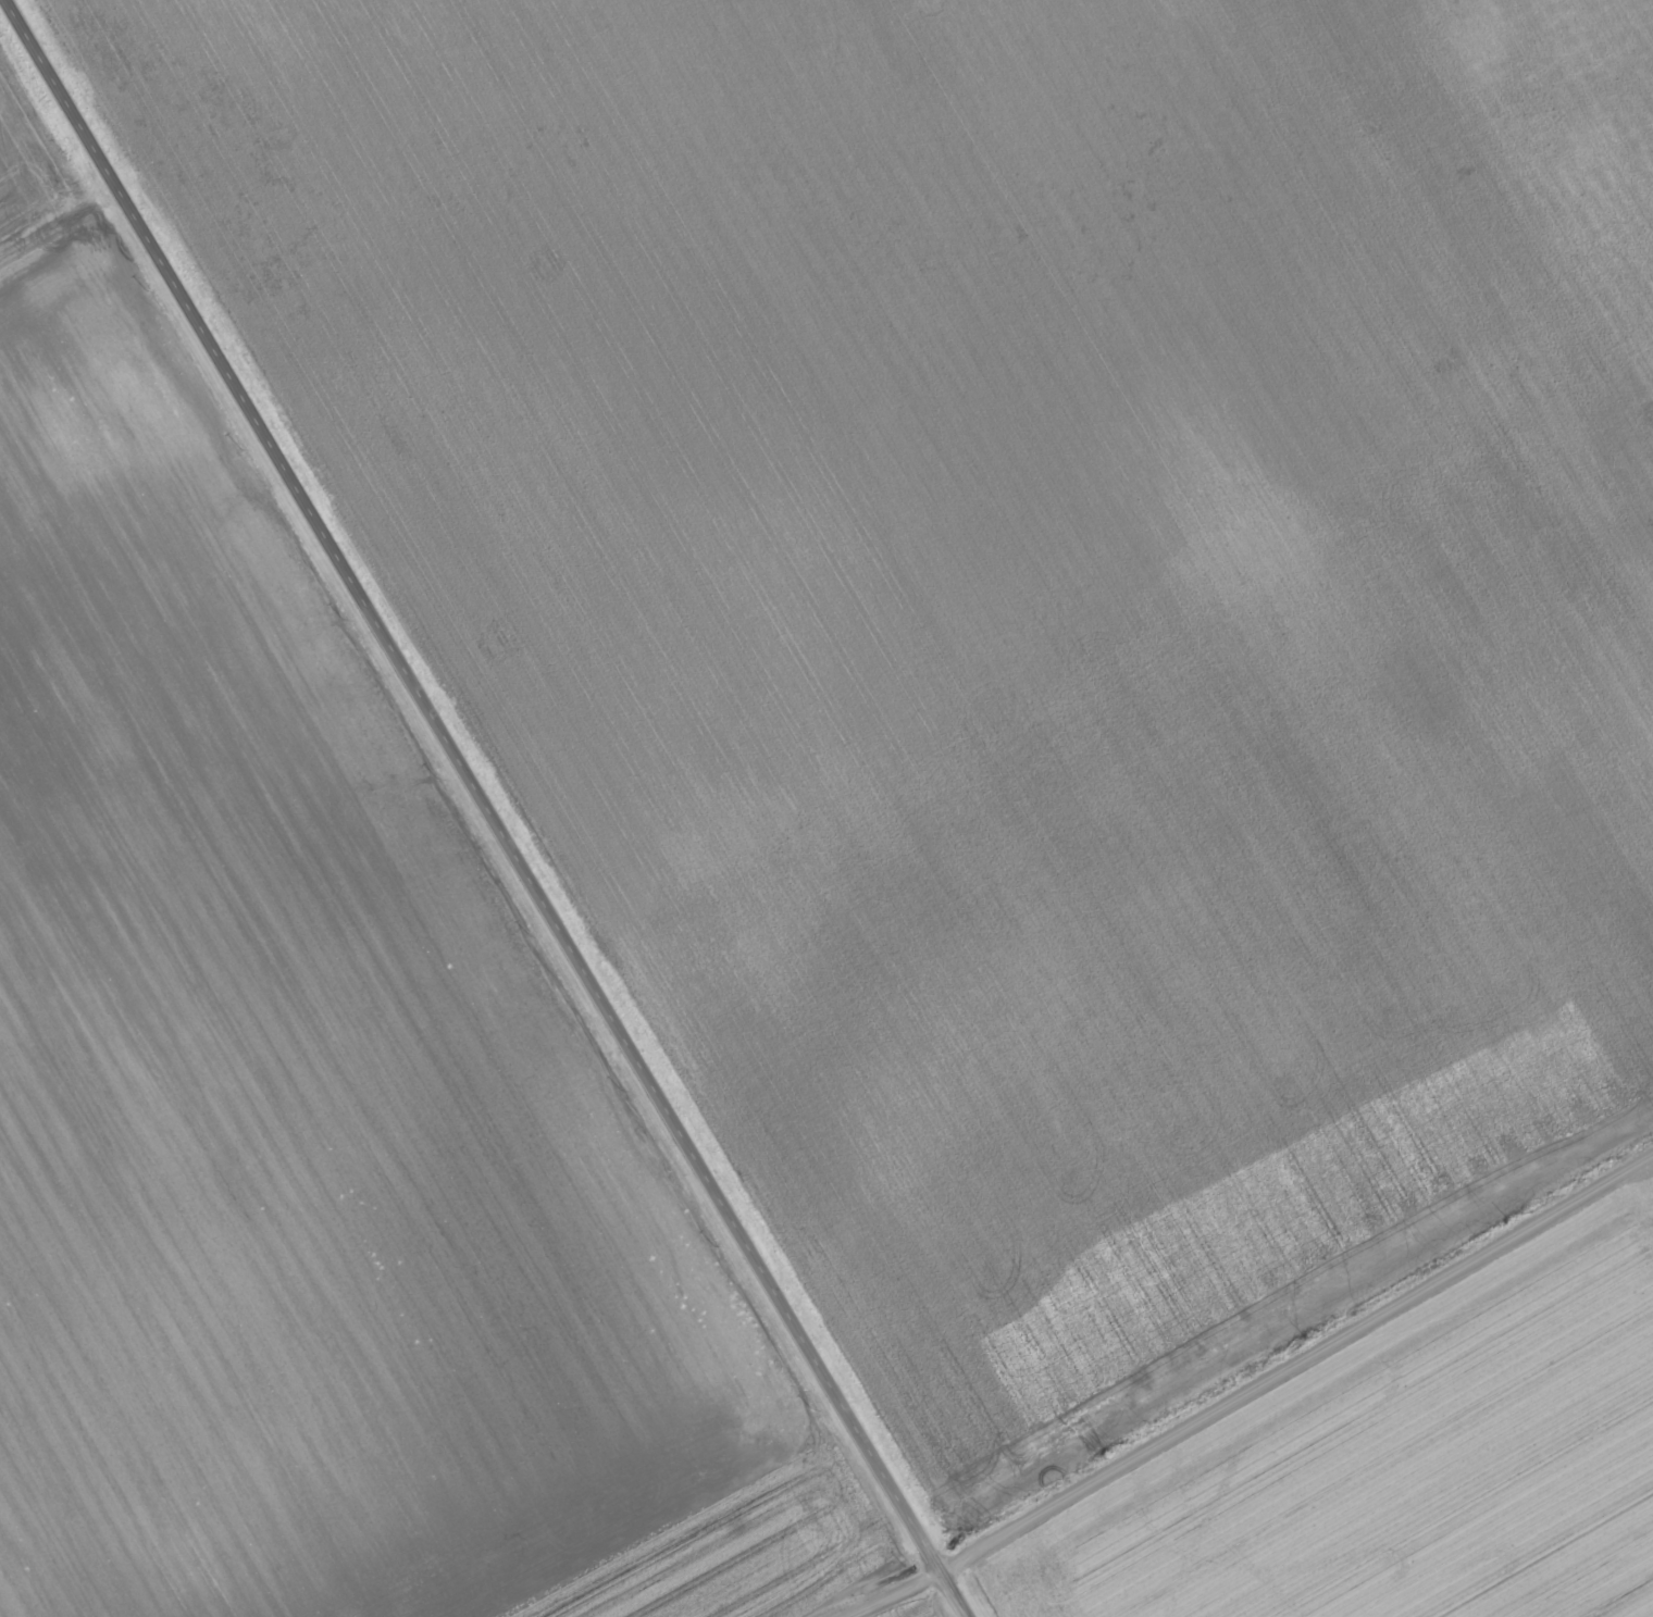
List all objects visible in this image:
road: (486, 808)
road: (1240, 1385)

